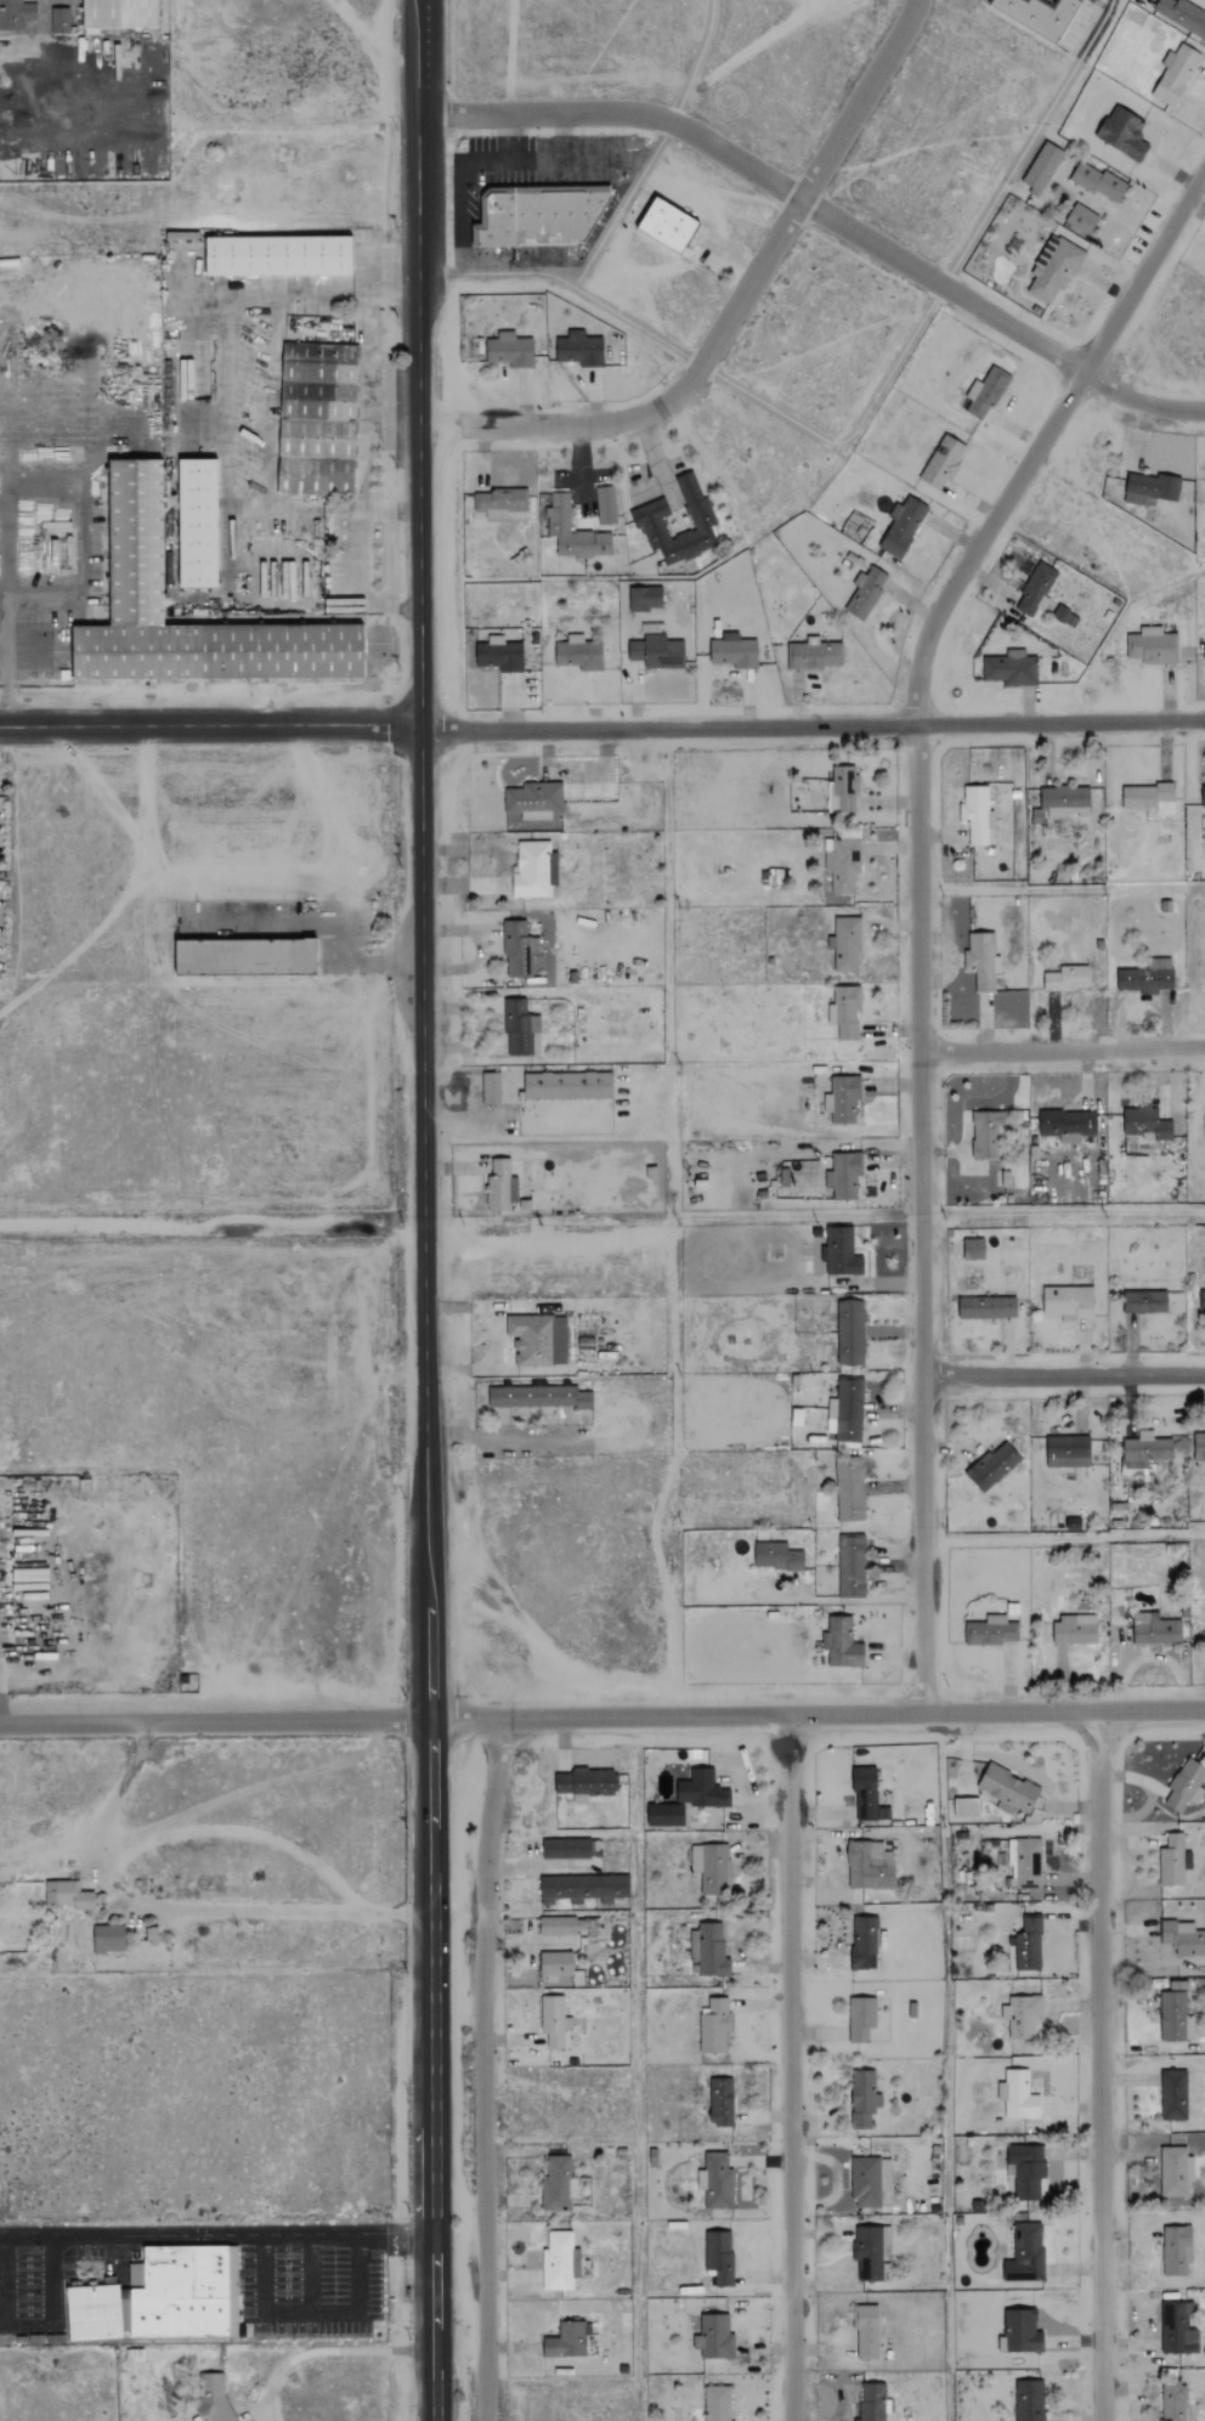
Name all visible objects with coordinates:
building: (16, 13)
building: (119, 15)
building: (1039, 15)
building: (1182, 15)
building: (58, 19)
road: (751, 47)
road: (697, 62)
building: (1176, 75)
building: (1121, 134)
road: (1028, 142)
building: (1041, 168)
building: (1098, 181)
road: (623, 204)
road: (826, 211)
building: (538, 215)
building: (1081, 219)
building: (667, 225)
building: (278, 255)
building: (1052, 270)
road: (730, 311)
building: (579, 349)
building: (509, 350)
road: (420, 363)
road: (722, 379)
building: (985, 392)
building: (316, 419)
building: (941, 462)
building: (1149, 487)
building: (499, 502)
building: (605, 504)
building: (558, 519)
building: (650, 521)
building: (197, 522)
building: (901, 526)
building: (135, 539)
building: (1036, 589)
building: (865, 592)
building: (645, 598)
road: (9, 615)
building: (1152, 646)
building: (657, 651)
building: (732, 651)
building: (1204, 652)
building: (578, 654)
building: (498, 655)
building: (815, 655)
building: (1011, 668)
road: (811, 725)
road: (210, 726)
building: (842, 790)
building: (1203, 796)
building: (1149, 798)
building: (1064, 801)
building: (533, 807)
building: (975, 814)
building: (1039, 816)
building: (842, 860)
building: (533, 870)
road: (918, 903)
road: (316, 926)
building: (847, 944)
building: (516, 949)
building: (245, 956)
building: (981, 960)
building: (1065, 978)
building: (1147, 978)
building: (844, 1011)
building: (519, 1028)
road: (1062, 1050)
building: (567, 1086)
building: (490, 1088)
road: (466, 1098)
building: (843, 1099)
building: (1067, 1122)
building: (1147, 1122)
building: (988, 1135)
building: (843, 1175)
building: (499, 1187)
road: (1063, 1211)
road: (211, 1231)
building: (973, 1249)
building: (841, 1252)
building: (1201, 1301)
building: (1067, 1302)
building: (1144, 1302)
building: (986, 1307)
building: (849, 1334)
building: (537, 1340)
road: (1064, 1374)
building: (538, 1397)
building: (845, 1410)
road: (425, 1422)
road: (505, 1437)
building: (1198, 1447)
building: (1067, 1452)
building: (1141, 1456)
building: (992, 1466)
building: (849, 1489)
road: (1064, 1538)
building: (776, 1556)
building: (852, 1566)
building: (29, 1580)
building: (1154, 1629)
building: (1074, 1630)
building: (992, 1631)
building: (841, 1644)
road: (815, 1715)
road: (213, 1720)
building: (583, 1783)
building: (1186, 1784)
road: (253, 1786)
building: (1007, 1787)
building: (706, 1789)
building: (866, 1795)
building: (966, 1806)
building: (567, 1849)
building: (1173, 1860)
building: (1025, 1862)
building: (869, 1865)
building: (711, 1867)
building: (583, 1888)
building: (64, 1895)
road: (181, 1911)
building: (560, 1925)
building: (152, 1936)
building: (106, 1938)
building: (1183, 1938)
building: (862, 1942)
building: (1028, 1944)
building: (707, 1951)
building: (555, 1965)
building: (1020, 2015)
building: (1175, 2016)
building: (860, 2018)
building: (553, 2020)
building: (713, 2025)
road: (1102, 2065)
road: (483, 2069)
road: (791, 2069)
building: (1018, 2094)
building: (1173, 2095)
building: (864, 2098)
building: (720, 2102)
building: (1025, 2170)
building: (1175, 2171)
road: (431, 2177)
building: (715, 2180)
building: (869, 2180)
building: (556, 2183)
road: (176, 2235)
road: (394, 2235)
building: (1176, 2250)
building: (871, 2253)
building: (1025, 2253)
building: (719, 2256)
building: (559, 2261)
road: (432, 2267)
road: (307, 2273)
road: (0, 2283)
road: (51, 2283)
building: (186, 2292)
parking lot: (309, 2300)
building: (94, 2312)
road: (310, 2312)
building: (1177, 2329)
building: (865, 2332)
building: (1022, 2334)
building: (714, 2337)
building: (566, 2341)
road: (324, 2351)
road: (432, 2360)
building: (208, 2397)
building: (1029, 2400)
building: (1173, 2402)
building: (715, 2403)
building: (871, 2403)

